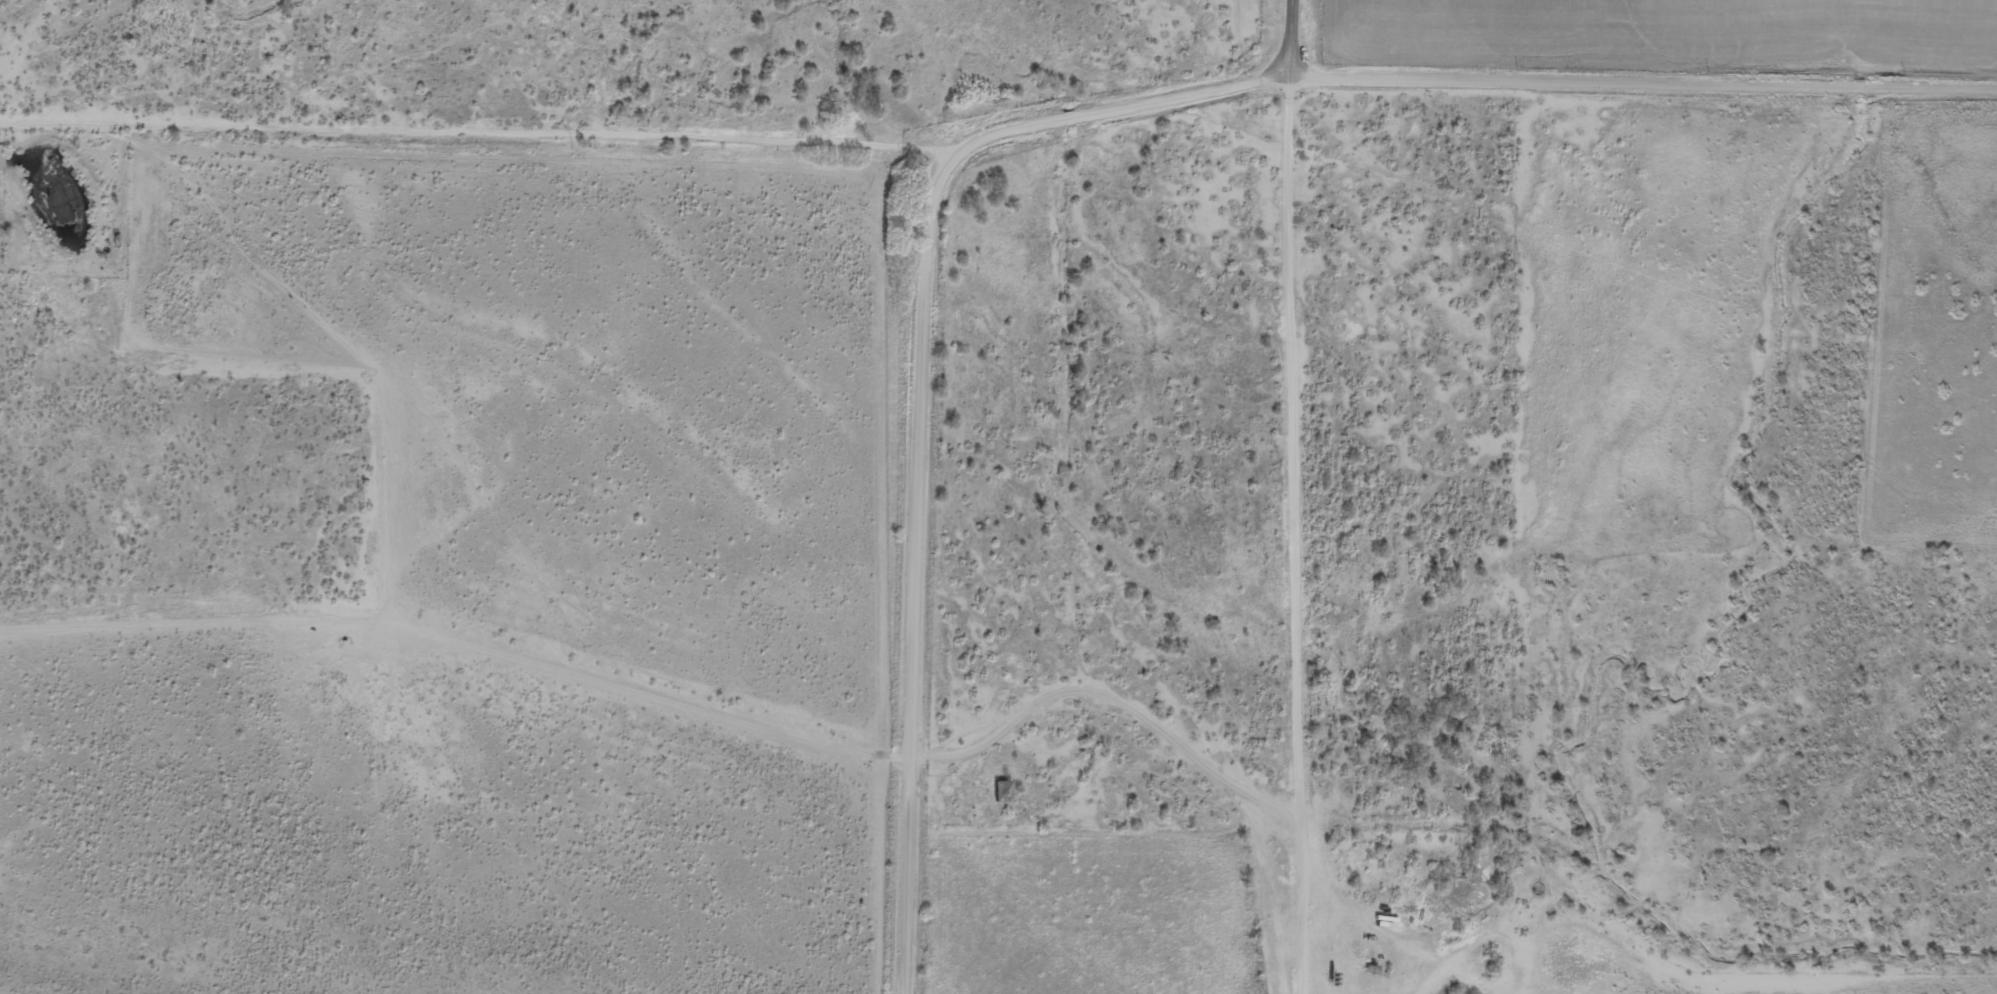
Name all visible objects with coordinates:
road: (1287, 38)
road: (1453, 77)
road: (472, 156)
road: (916, 590)
road: (1278, 592)
road: (1260, 866)

